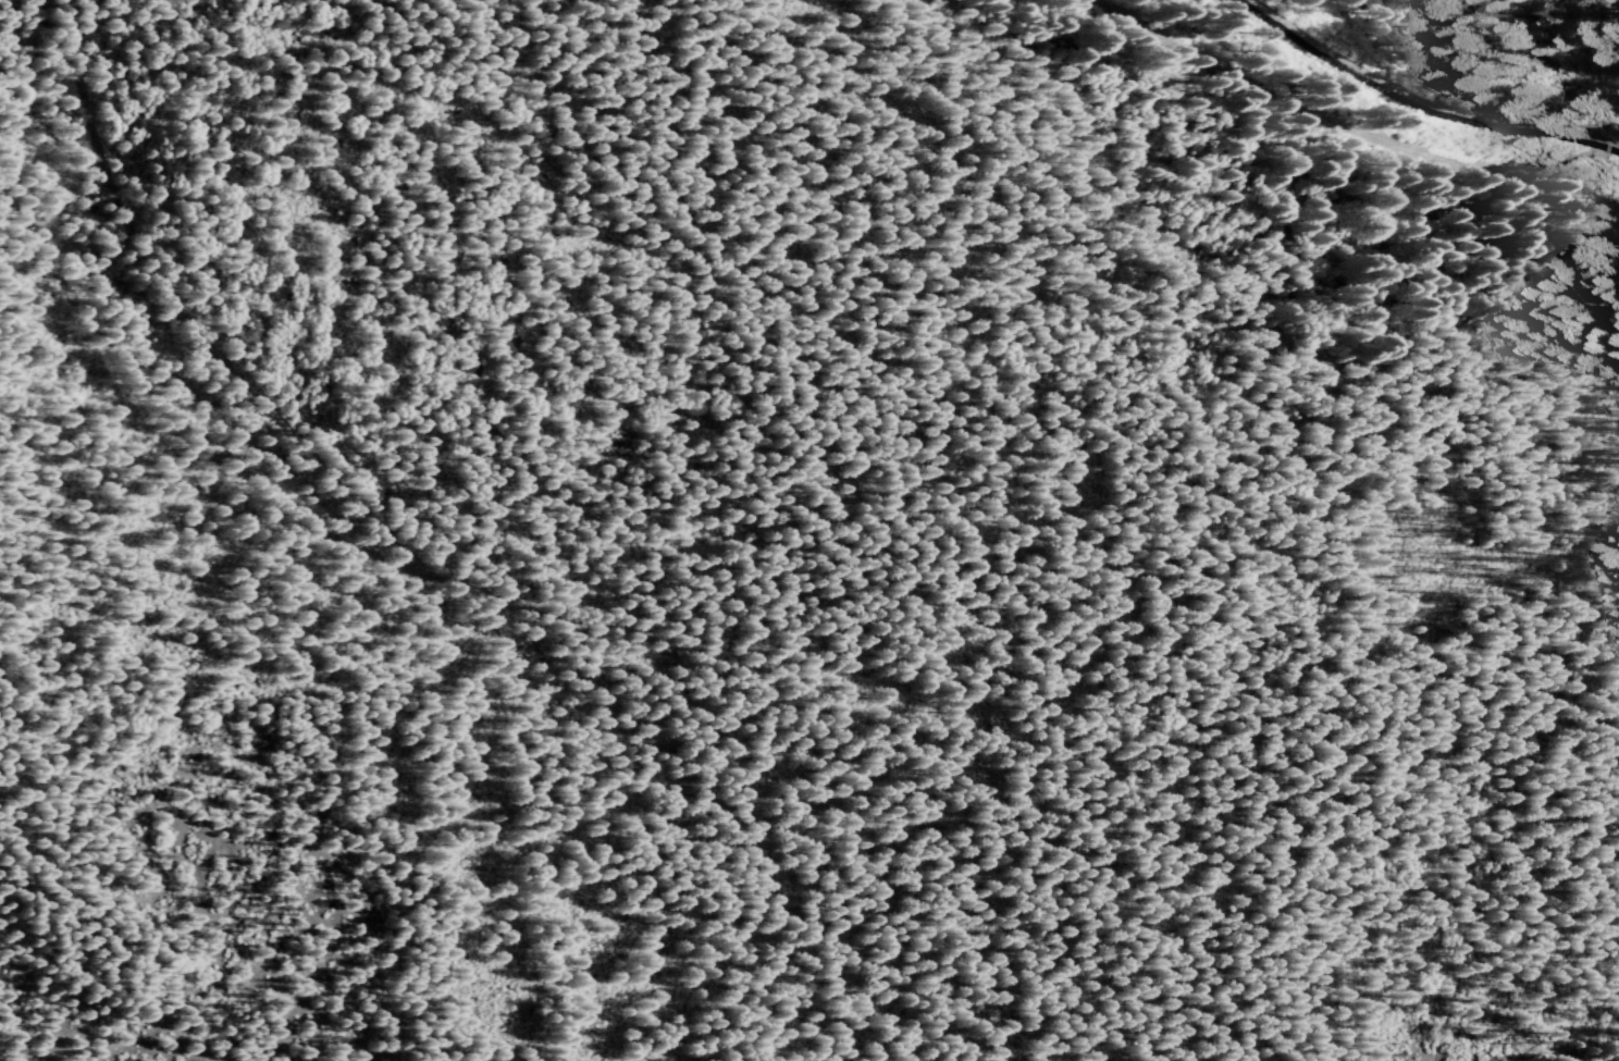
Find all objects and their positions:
road: (1312, 123)
road: (174, 414)
road: (644, 639)
road: (1497, 835)

